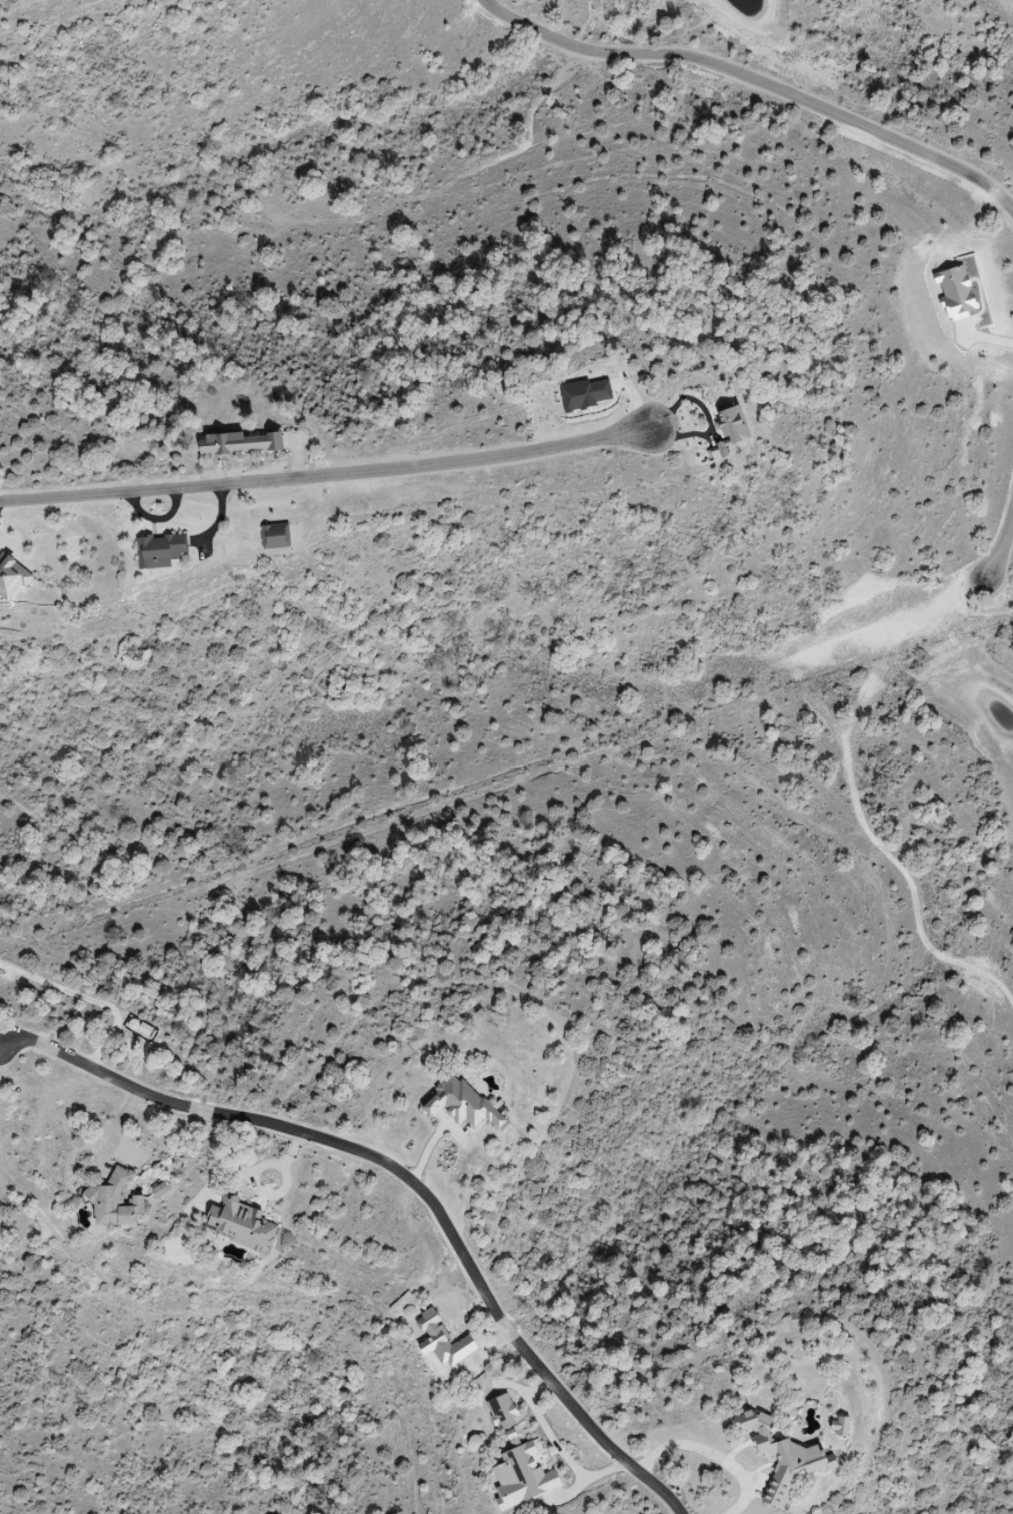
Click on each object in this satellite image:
road: (746, 88)
building: (242, 444)
road: (338, 472)
building: (277, 535)
building: (161, 550)
road: (991, 569)
building: (12, 577)
road: (95, 1003)
building: (461, 1104)
road: (409, 1175)
building: (116, 1203)
building: (242, 1224)
building: (843, 1427)
road: (558, 1449)
road: (714, 1455)
building: (784, 1457)

